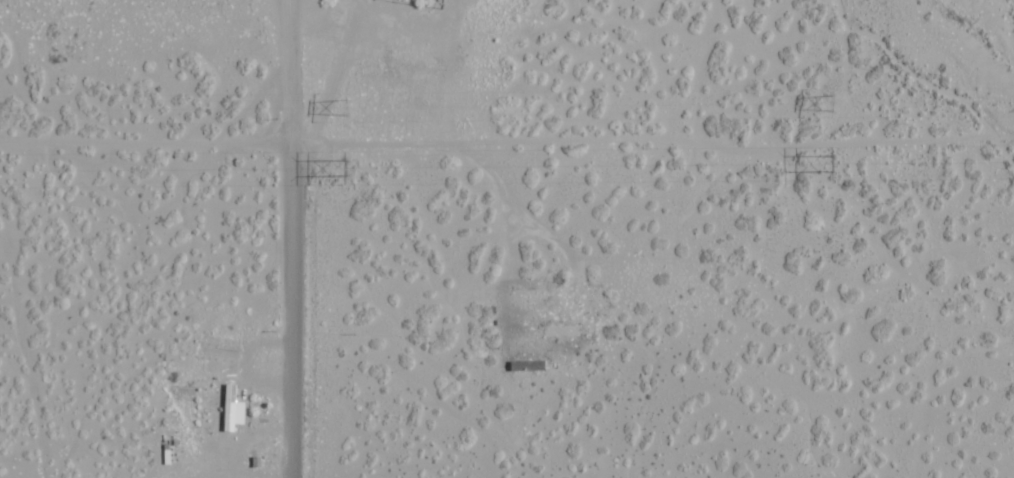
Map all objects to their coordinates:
power tower: (829, 100)
power tower: (344, 104)
power tower: (832, 161)
power tower: (348, 166)
road: (18, 374)

